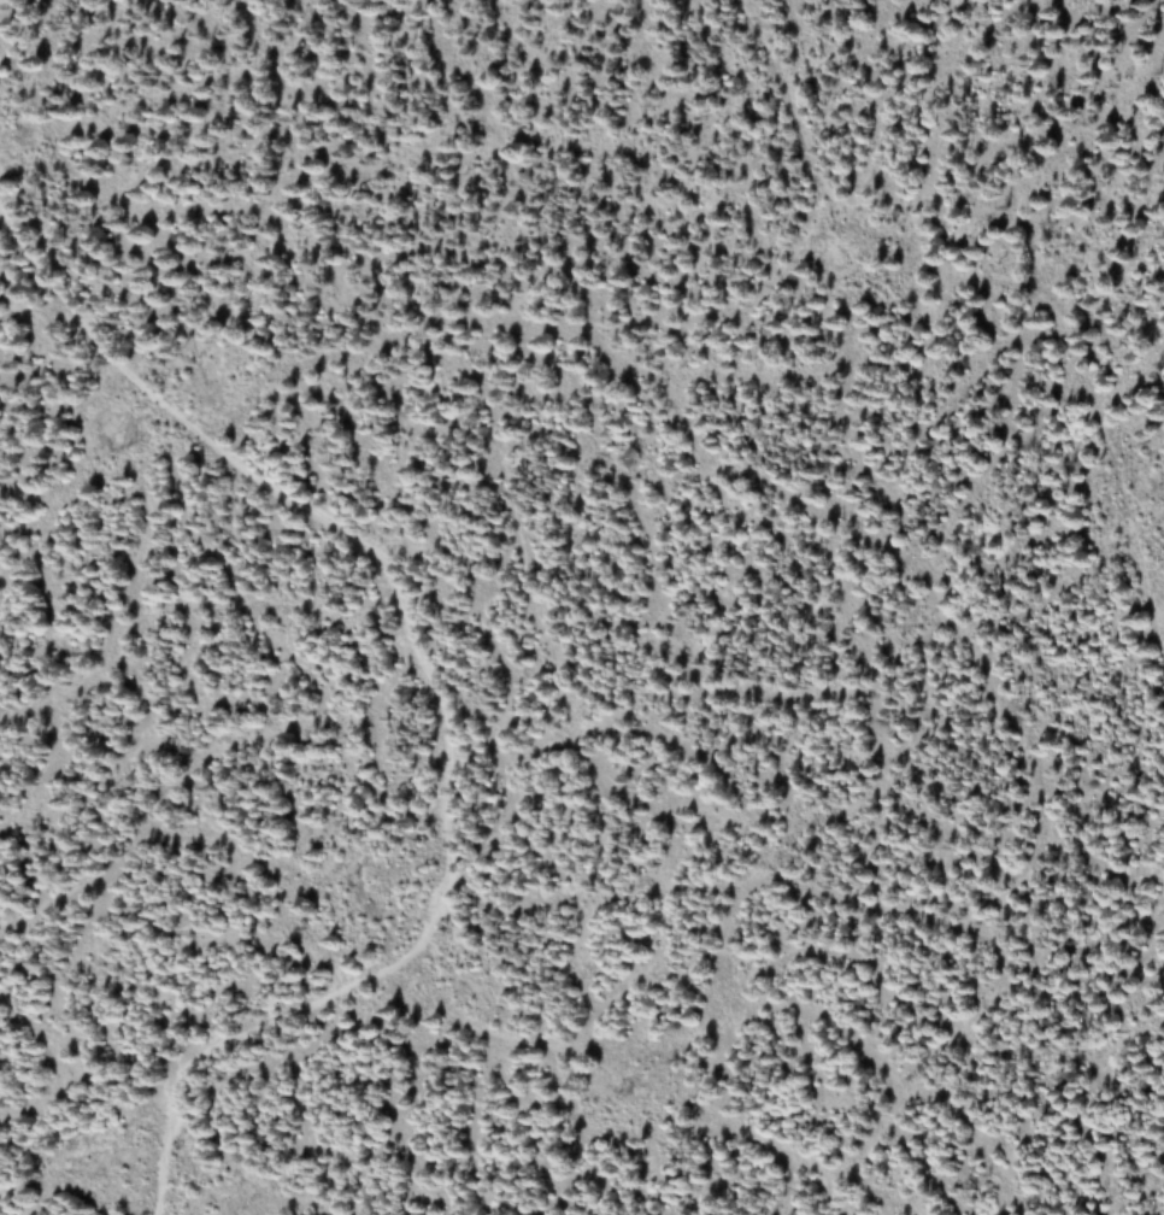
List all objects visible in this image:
road: (434, 697)

